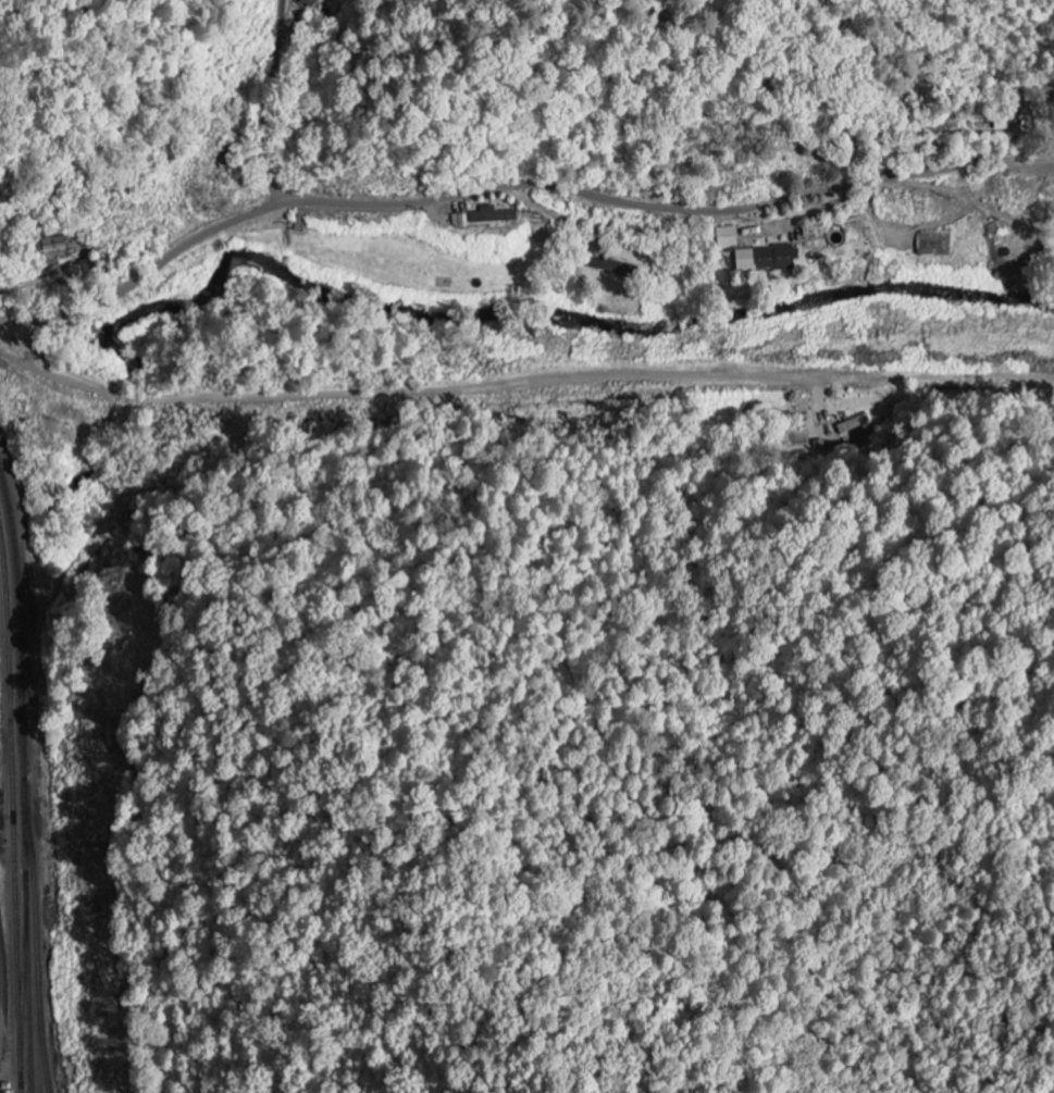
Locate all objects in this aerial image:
building: (308, 3)
road: (264, 116)
road: (516, 186)
building: (489, 216)
building: (458, 221)
building: (808, 233)
building: (724, 238)
building: (55, 246)
building: (761, 260)
road: (40, 276)
road: (446, 387)
railway: (488, 402)
railway: (168, 407)
railway: (64, 579)
railway: (17, 782)
railway: (9, 822)
road: (1, 1009)

